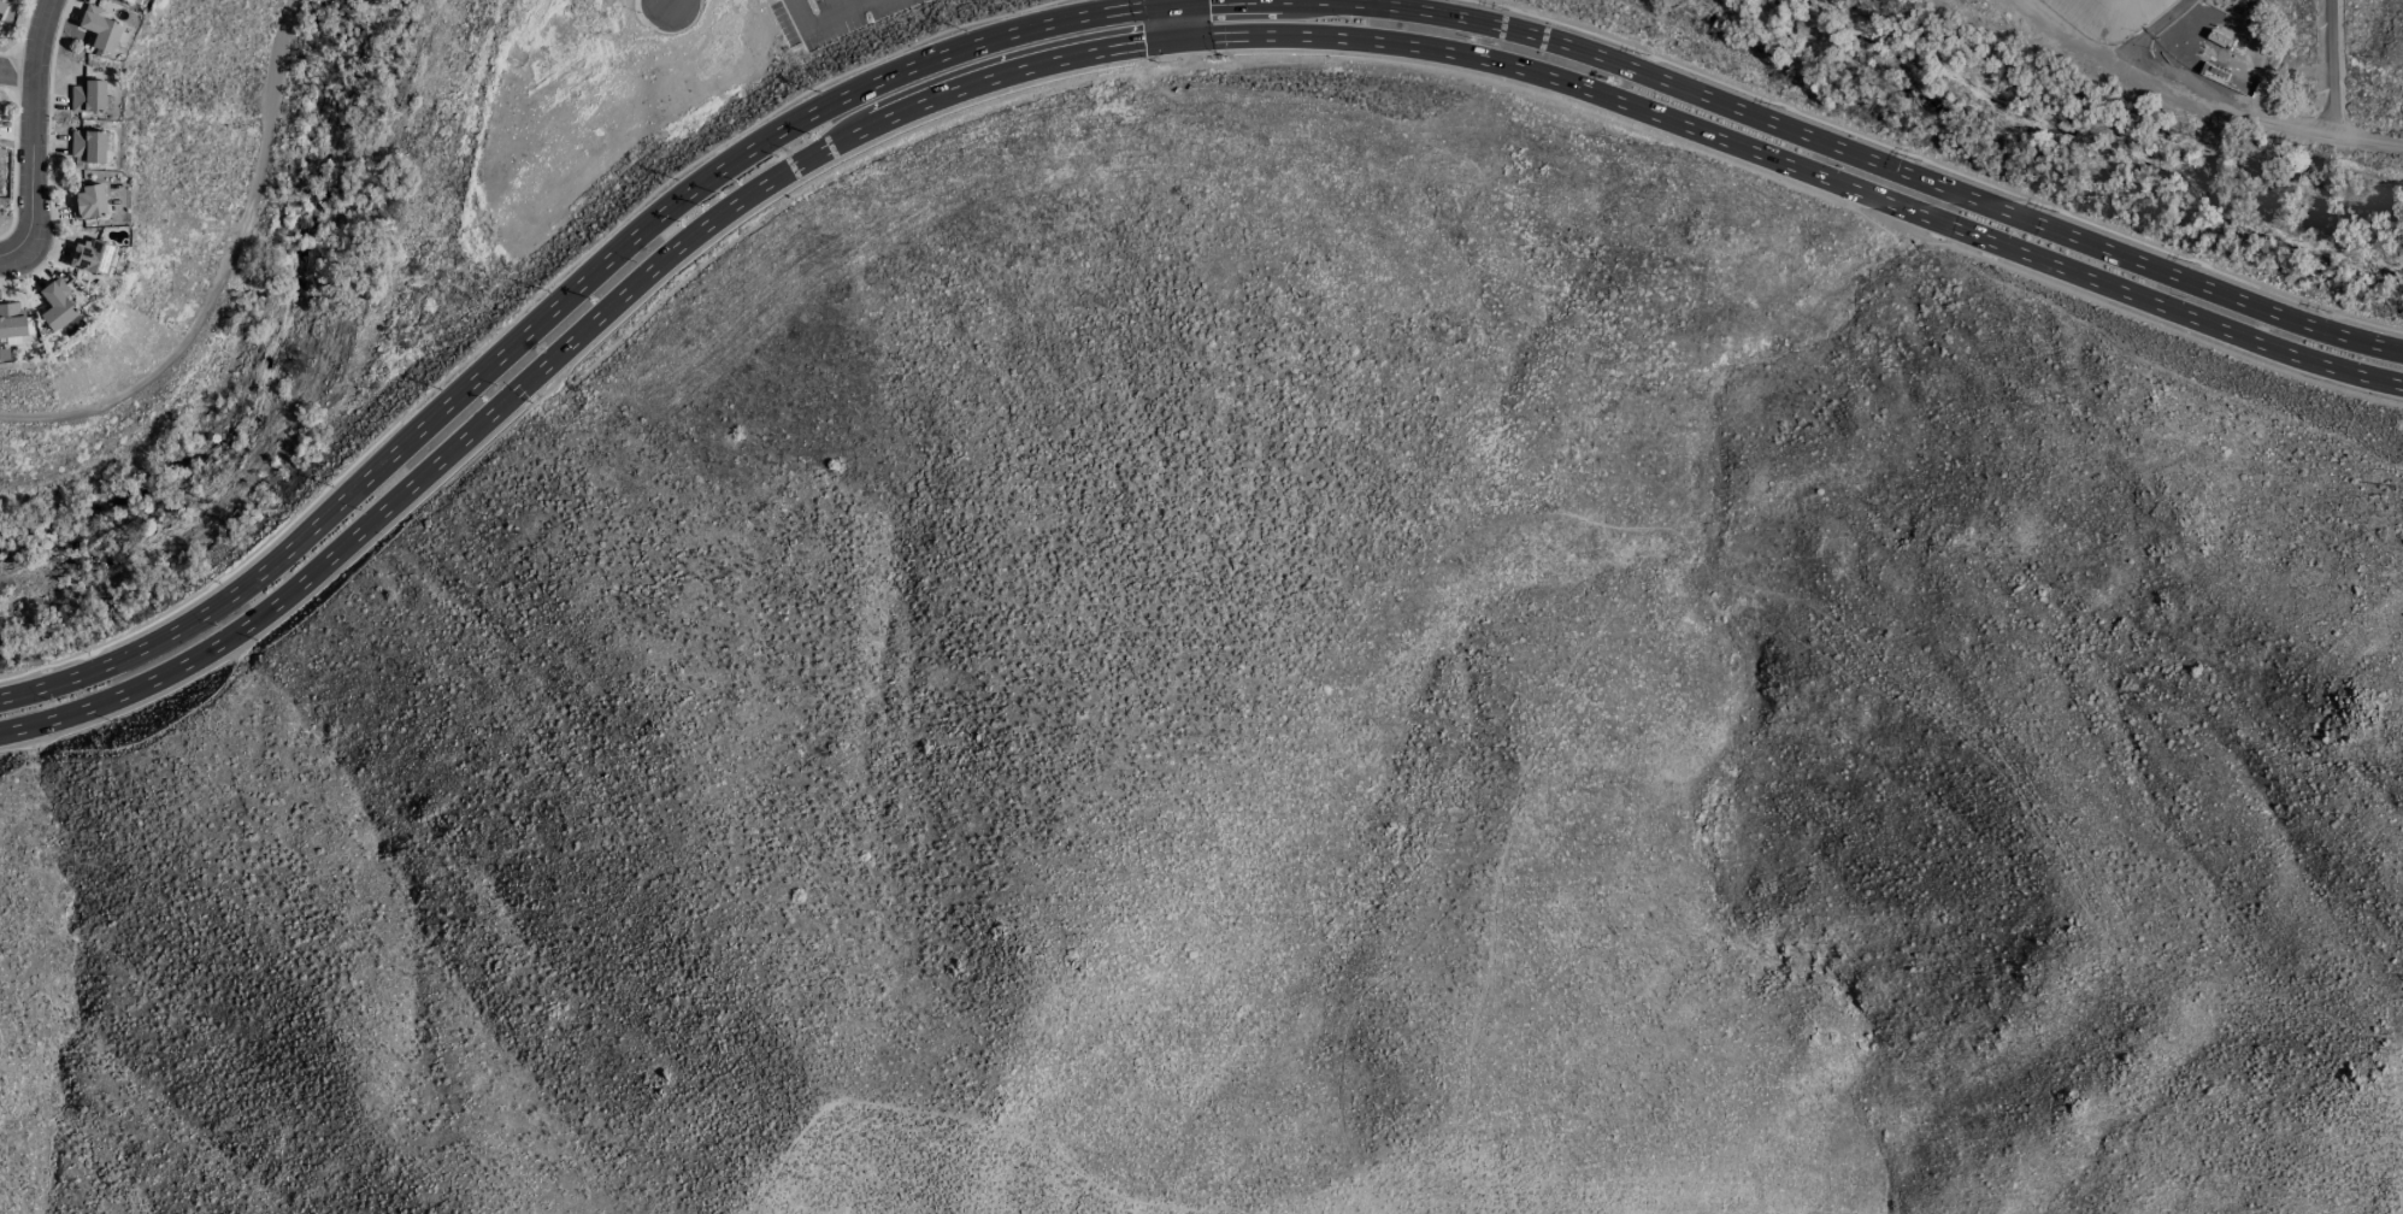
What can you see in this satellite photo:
building: (128, 1)
building: (1, 4)
traffic signals: (1177, 6)
road: (1121, 11)
road: (1178, 17)
road: (824, 18)
building: (99, 29)
road: (2151, 31)
traffic signals: (1183, 35)
road: (1123, 42)
road: (2332, 70)
road: (18, 75)
road: (2132, 76)
building: (87, 96)
road: (37, 126)
road: (2332, 140)
building: (88, 147)
river: (2092, 152)
road: (1928, 163)
building: (88, 201)
road: (10, 255)
building: (92, 257)
road: (223, 277)
building: (55, 307)
road: (514, 314)
building: (11, 319)
river: (287, 364)

